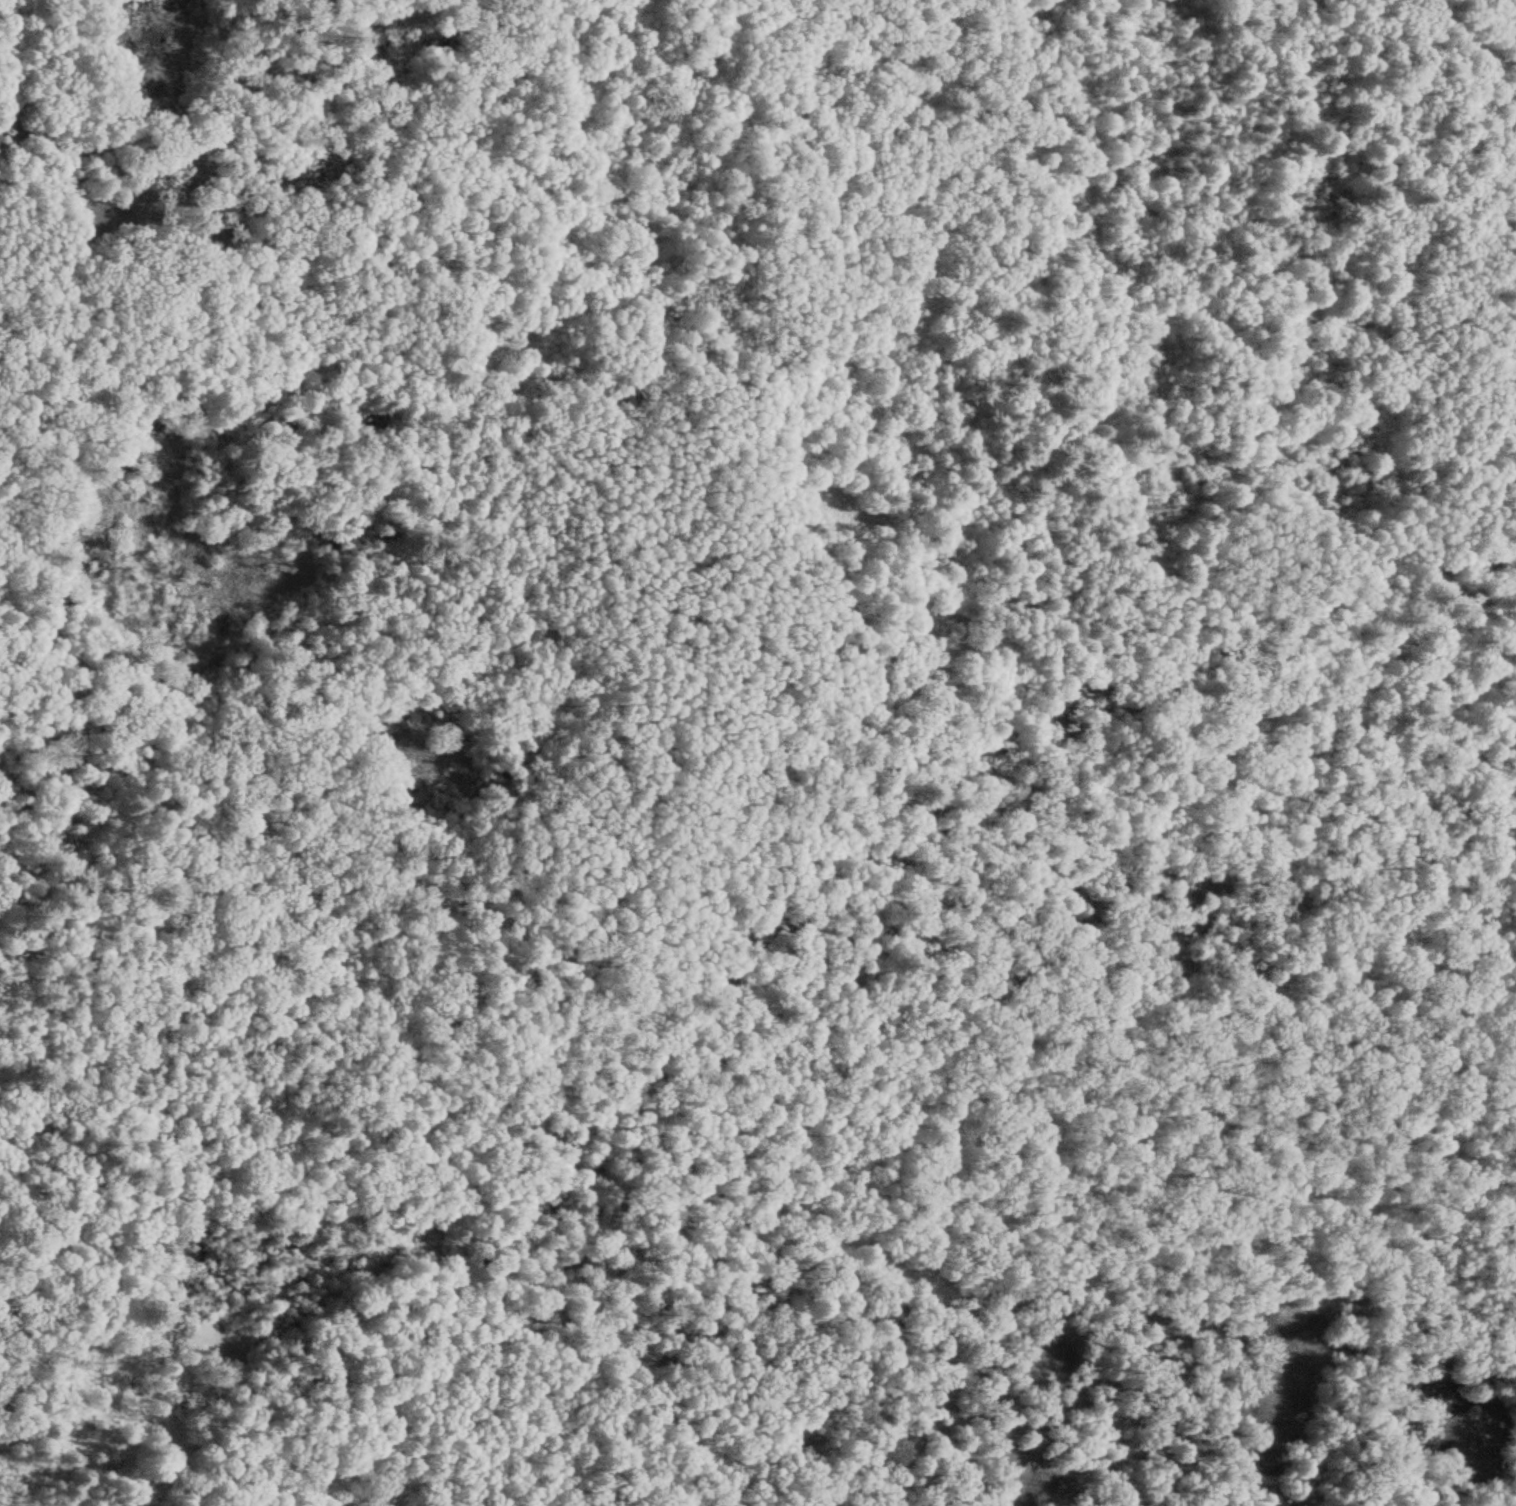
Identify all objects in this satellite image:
road: (1064, 130)
road: (324, 239)

